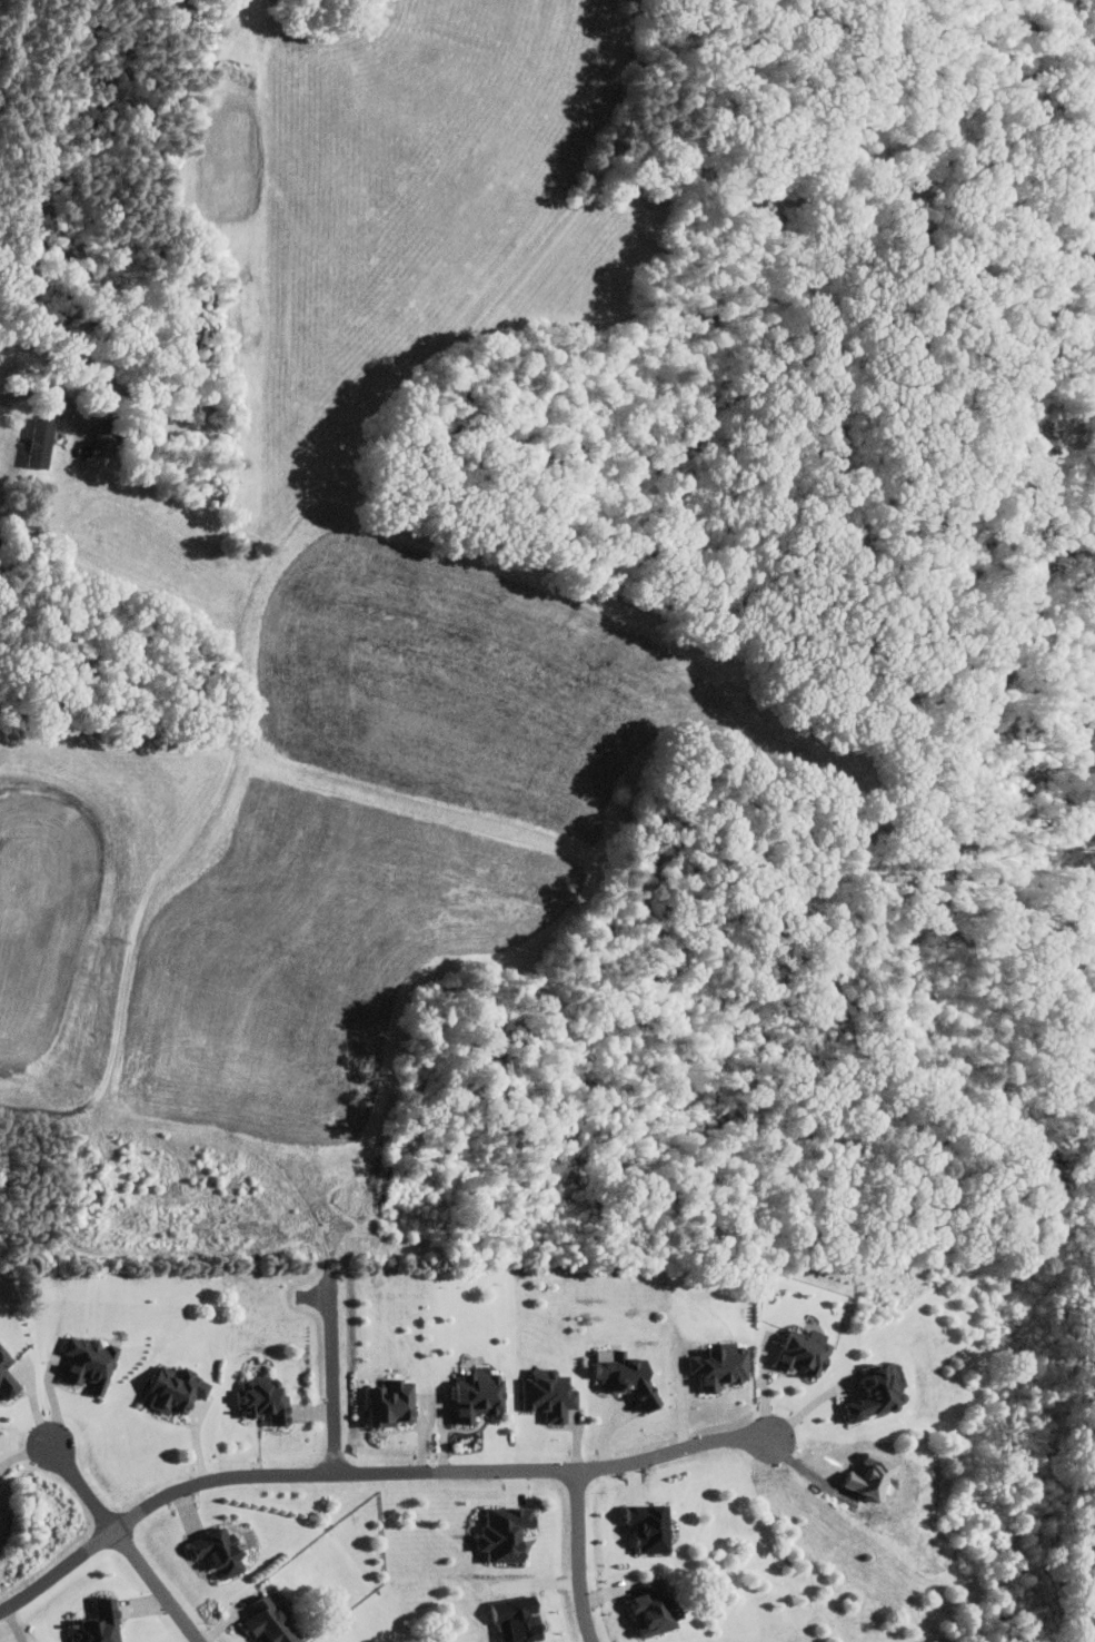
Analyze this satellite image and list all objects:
road: (39, 408)
building: (107, 438)
building: (43, 442)
building: (808, 1353)
building: (92, 1363)
building: (723, 1364)
building: (9, 1374)
building: (628, 1374)
road: (330, 1378)
road: (761, 1387)
building: (178, 1389)
building: (883, 1391)
building: (553, 1394)
building: (268, 1398)
building: (395, 1403)
road: (808, 1407)
road: (436, 1476)
road: (84, 1494)
building: (653, 1526)
building: (509, 1534)
building: (223, 1551)
road: (579, 1559)
road: (58, 1575)
road: (157, 1587)
building: (659, 1605)
building: (275, 1619)
building: (101, 1624)

